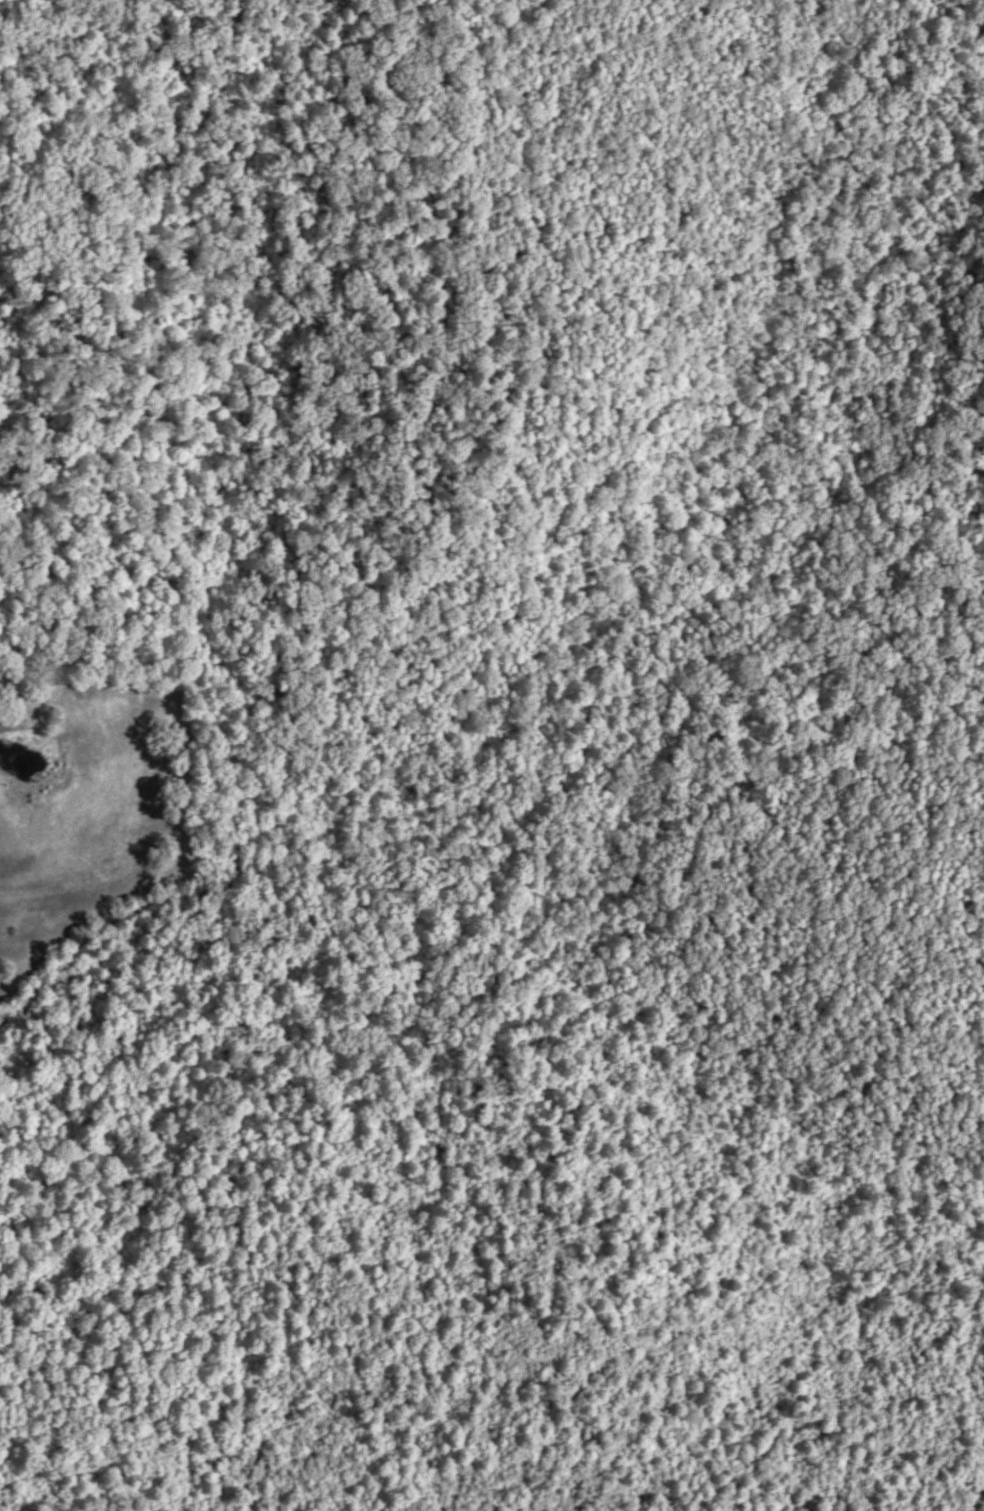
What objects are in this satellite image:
road: (568, 1270)
road: (478, 1507)

